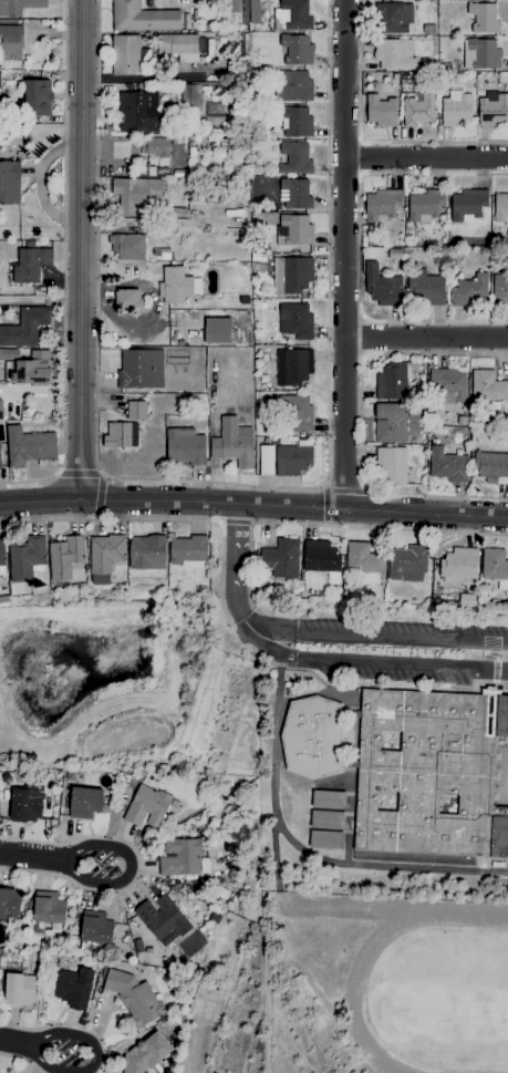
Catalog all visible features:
building: (18, 6)
building: (291, 14)
building: (142, 17)
building: (393, 17)
building: (484, 17)
building: (11, 42)
building: (178, 45)
building: (297, 48)
building: (394, 53)
building: (480, 53)
building: (124, 54)
building: (293, 85)
building: (38, 96)
building: (191, 99)
building: (456, 107)
building: (417, 109)
building: (493, 109)
building: (380, 110)
building: (137, 111)
building: (296, 121)
building: (154, 146)
road: (427, 156)
building: (294, 157)
building: (9, 182)
building: (294, 193)
building: (135, 194)
building: (381, 203)
building: (467, 204)
building: (425, 205)
building: (500, 208)
building: (293, 229)
building: (127, 246)
road: (83, 247)
road: (346, 255)
building: (30, 264)
building: (291, 274)
building: (177, 285)
building: (382, 287)
building: (425, 287)
building: (500, 289)
building: (470, 290)
building: (128, 297)
building: (294, 319)
building: (24, 327)
building: (217, 330)
road: (427, 339)
building: (293, 365)
building: (141, 368)
building: (32, 369)
building: (391, 381)
building: (448, 384)
building: (487, 385)
building: (0, 409)
building: (135, 410)
building: (296, 411)
building: (393, 422)
building: (120, 434)
building: (232, 442)
building: (28, 445)
building: (184, 445)
building: (266, 458)
building: (291, 460)
building: (391, 464)
building: (447, 465)
building: (491, 466)
building: (0, 467)
road: (253, 506)
building: (187, 548)
building: (146, 551)
building: (64, 556)
building: (104, 556)
building: (320, 556)
building: (281, 557)
building: (1, 558)
building: (25, 558)
building: (363, 561)
building: (407, 564)
building: (458, 564)
building: (495, 566)
road: (234, 577)
building: (466, 599)
road: (386, 640)
road: (381, 663)
building: (311, 736)
road: (280, 739)
building: (436, 766)
building: (328, 798)
building: (27, 802)
building: (84, 802)
building: (146, 806)
building: (326, 818)
building: (325, 838)
road: (28, 855)
building: (180, 856)
road: (128, 869)
building: (9, 904)
building: (48, 907)
building: (162, 919)
building: (95, 927)
building: (74, 987)
building: (19, 989)
building: (134, 997)
road: (15, 1043)
building: (145, 1054)
road: (93, 1057)

